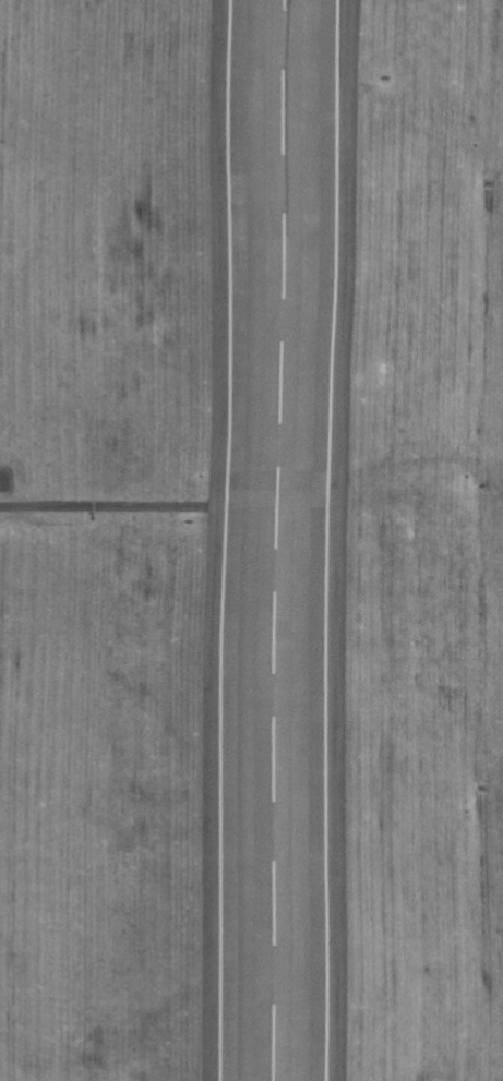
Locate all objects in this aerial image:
road: (144, 503)
airport: (251, 540)
airport runway: (280, 540)

